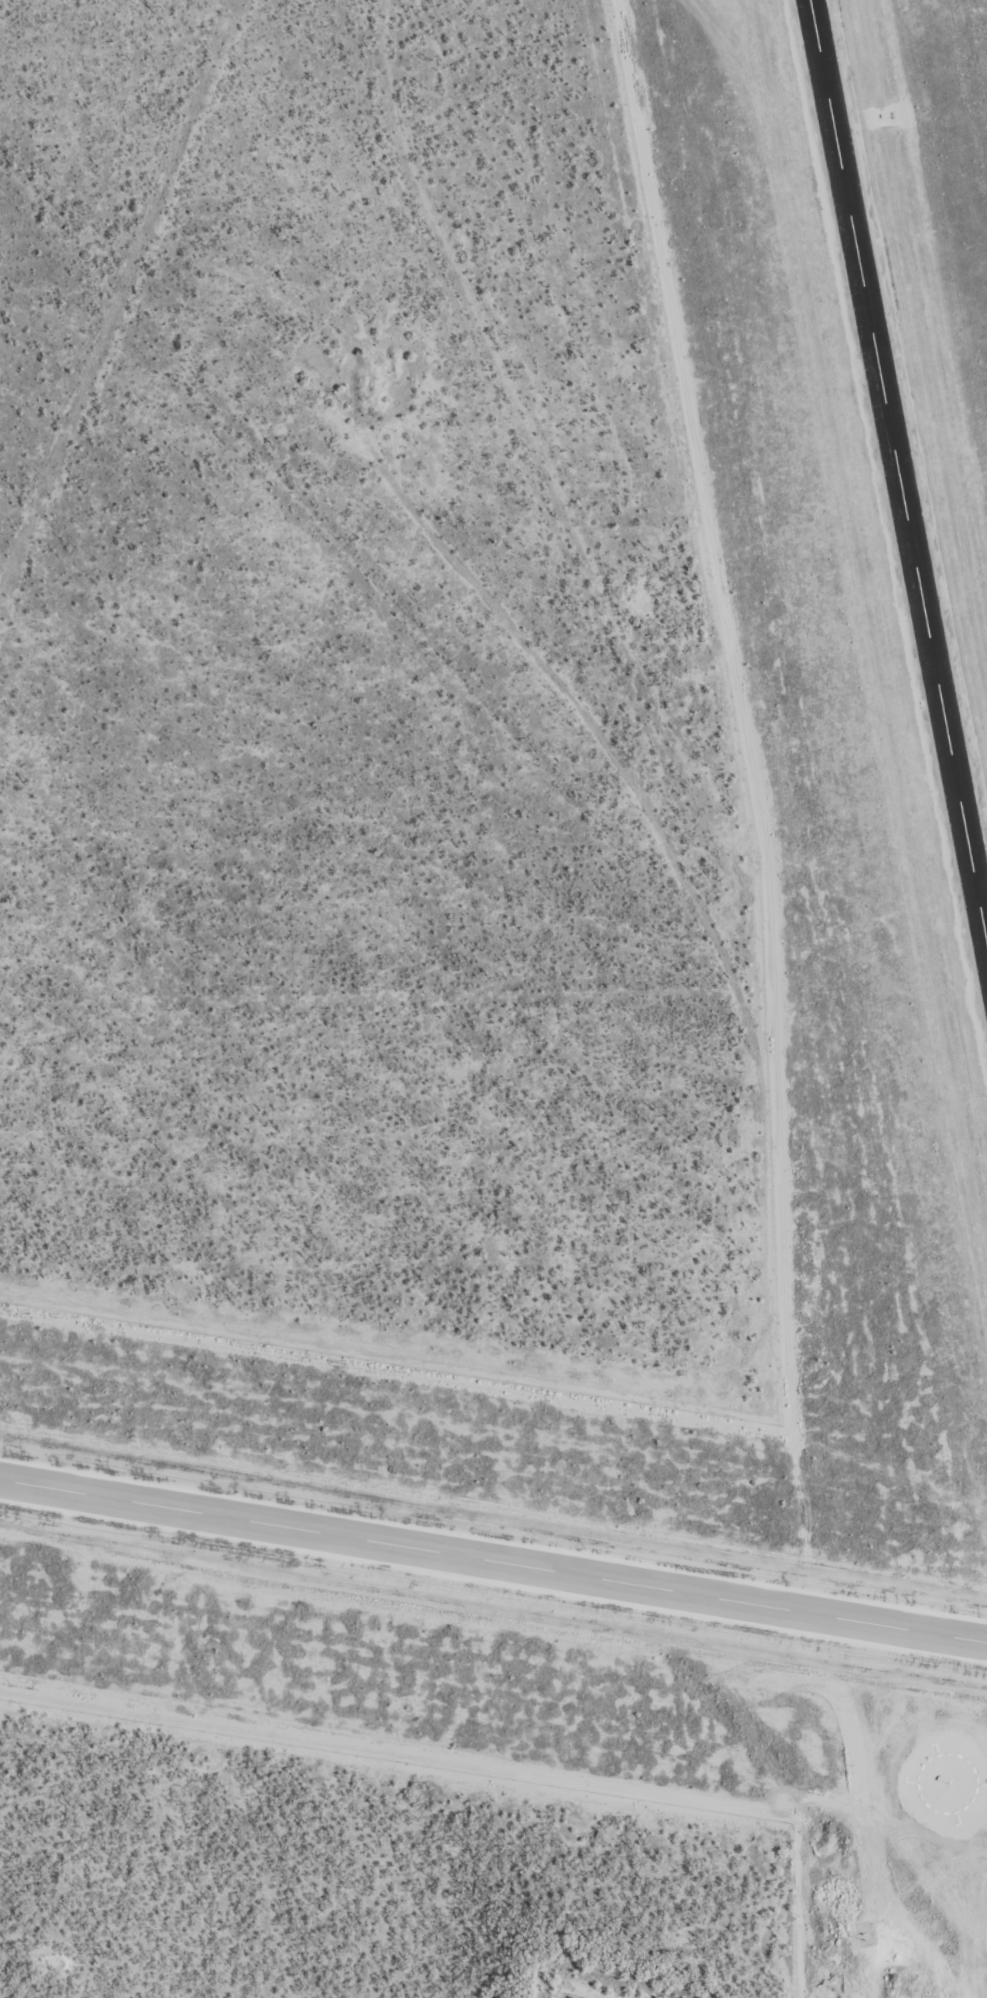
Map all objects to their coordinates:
road: (560, 255)
airport runway: (897, 477)
airport: (878, 1091)
airport runway: (493, 1561)
helipad: (946, 1784)

